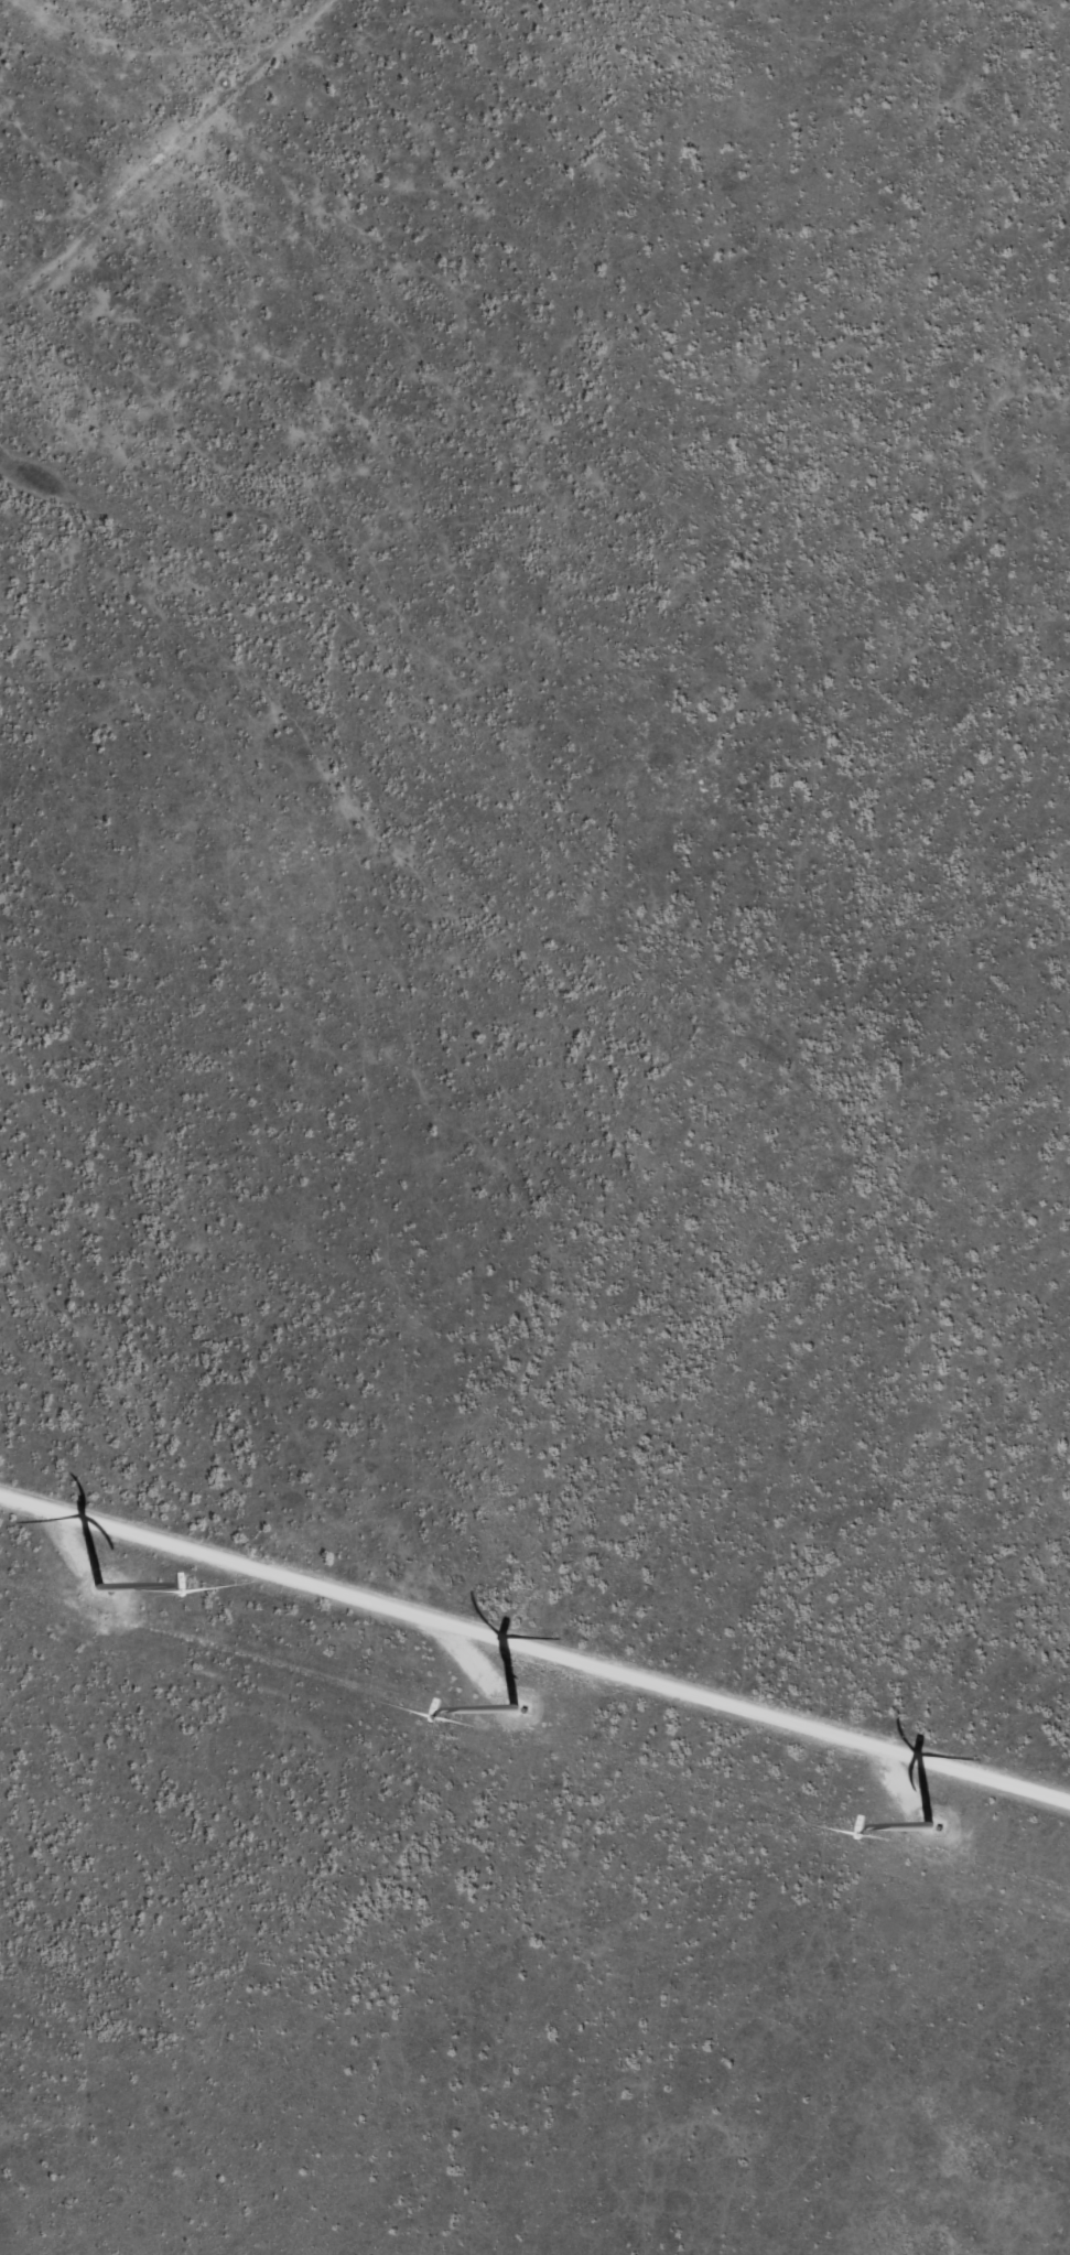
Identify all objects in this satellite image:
road: (289, 51)
road: (154, 177)
wind turbine: (64, 1596)
wind turbine: (505, 1716)
wind turbine: (890, 1842)

